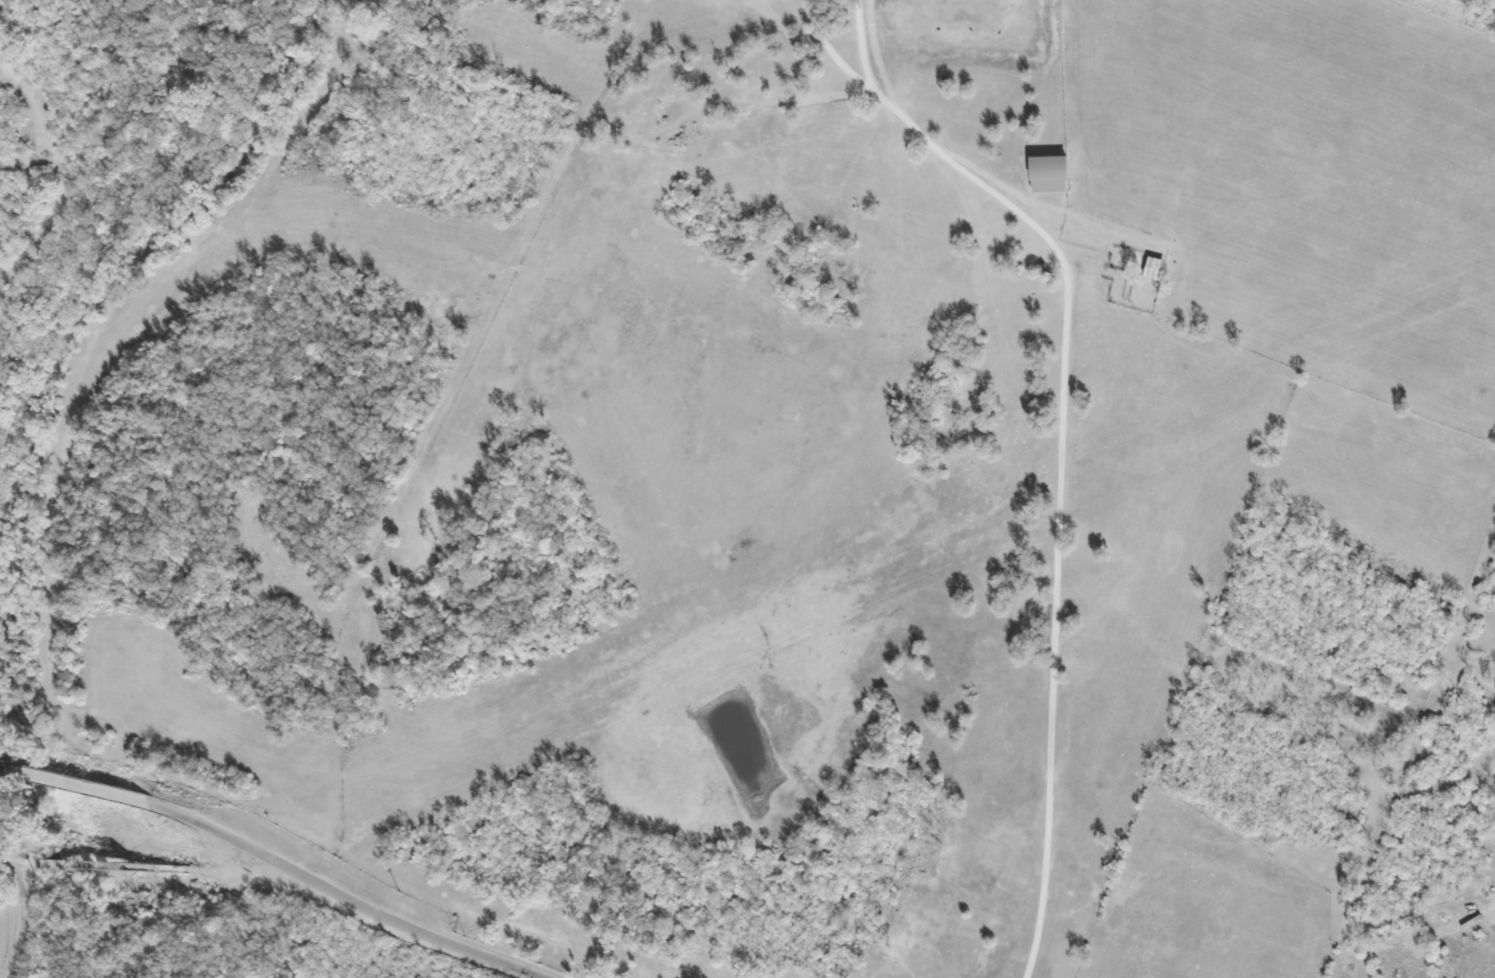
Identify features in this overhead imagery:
building: (1153, 268)
road: (1059, 434)
road: (73, 782)
road: (337, 894)
road: (20, 918)

